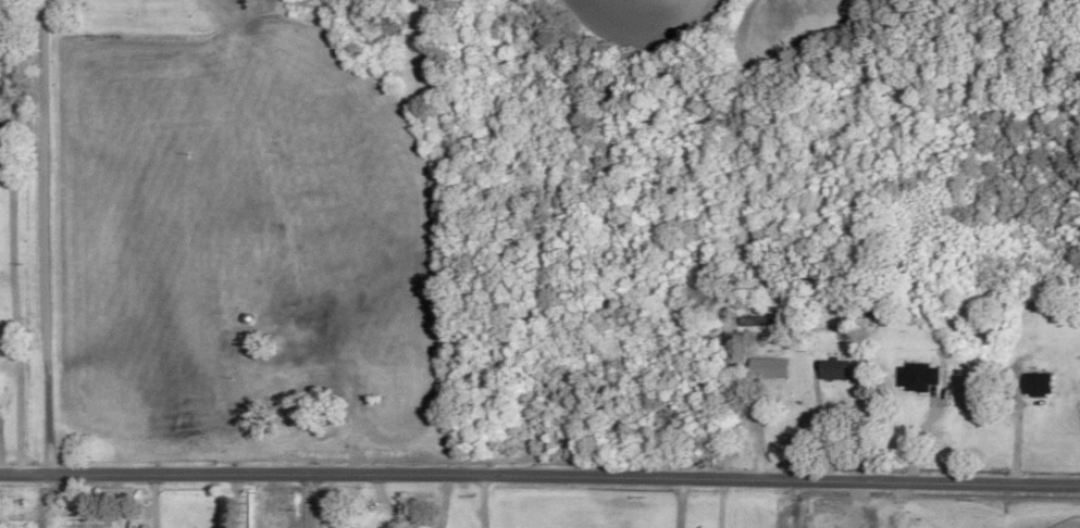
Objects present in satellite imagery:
building: (770, 368)
building: (834, 370)
building: (918, 377)
building: (1038, 386)
road: (250, 461)
road: (96, 468)
road: (694, 478)
road: (308, 502)
road: (747, 503)

